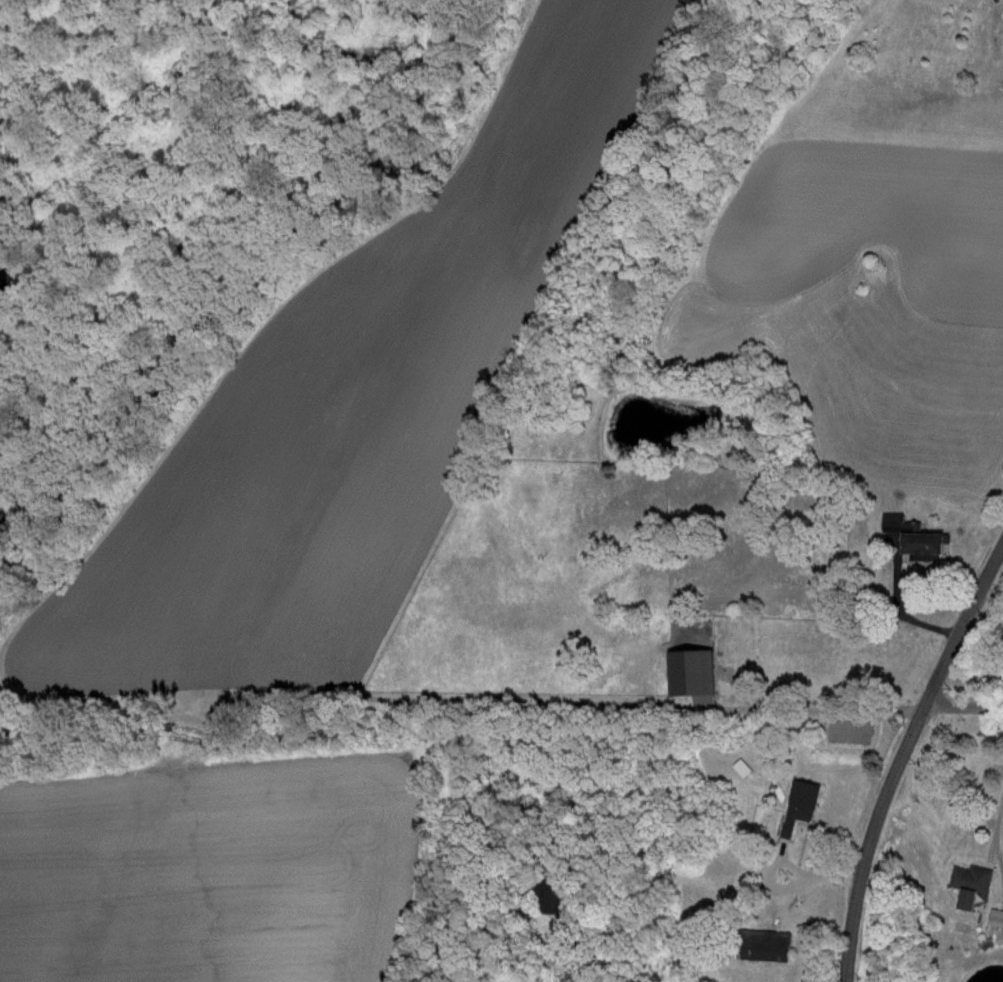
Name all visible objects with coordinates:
road: (908, 615)
building: (695, 672)
road: (962, 705)
road: (821, 708)
road: (900, 752)
building: (801, 802)
road: (994, 831)
building: (971, 881)
building: (552, 895)
building: (996, 916)
building: (768, 944)

